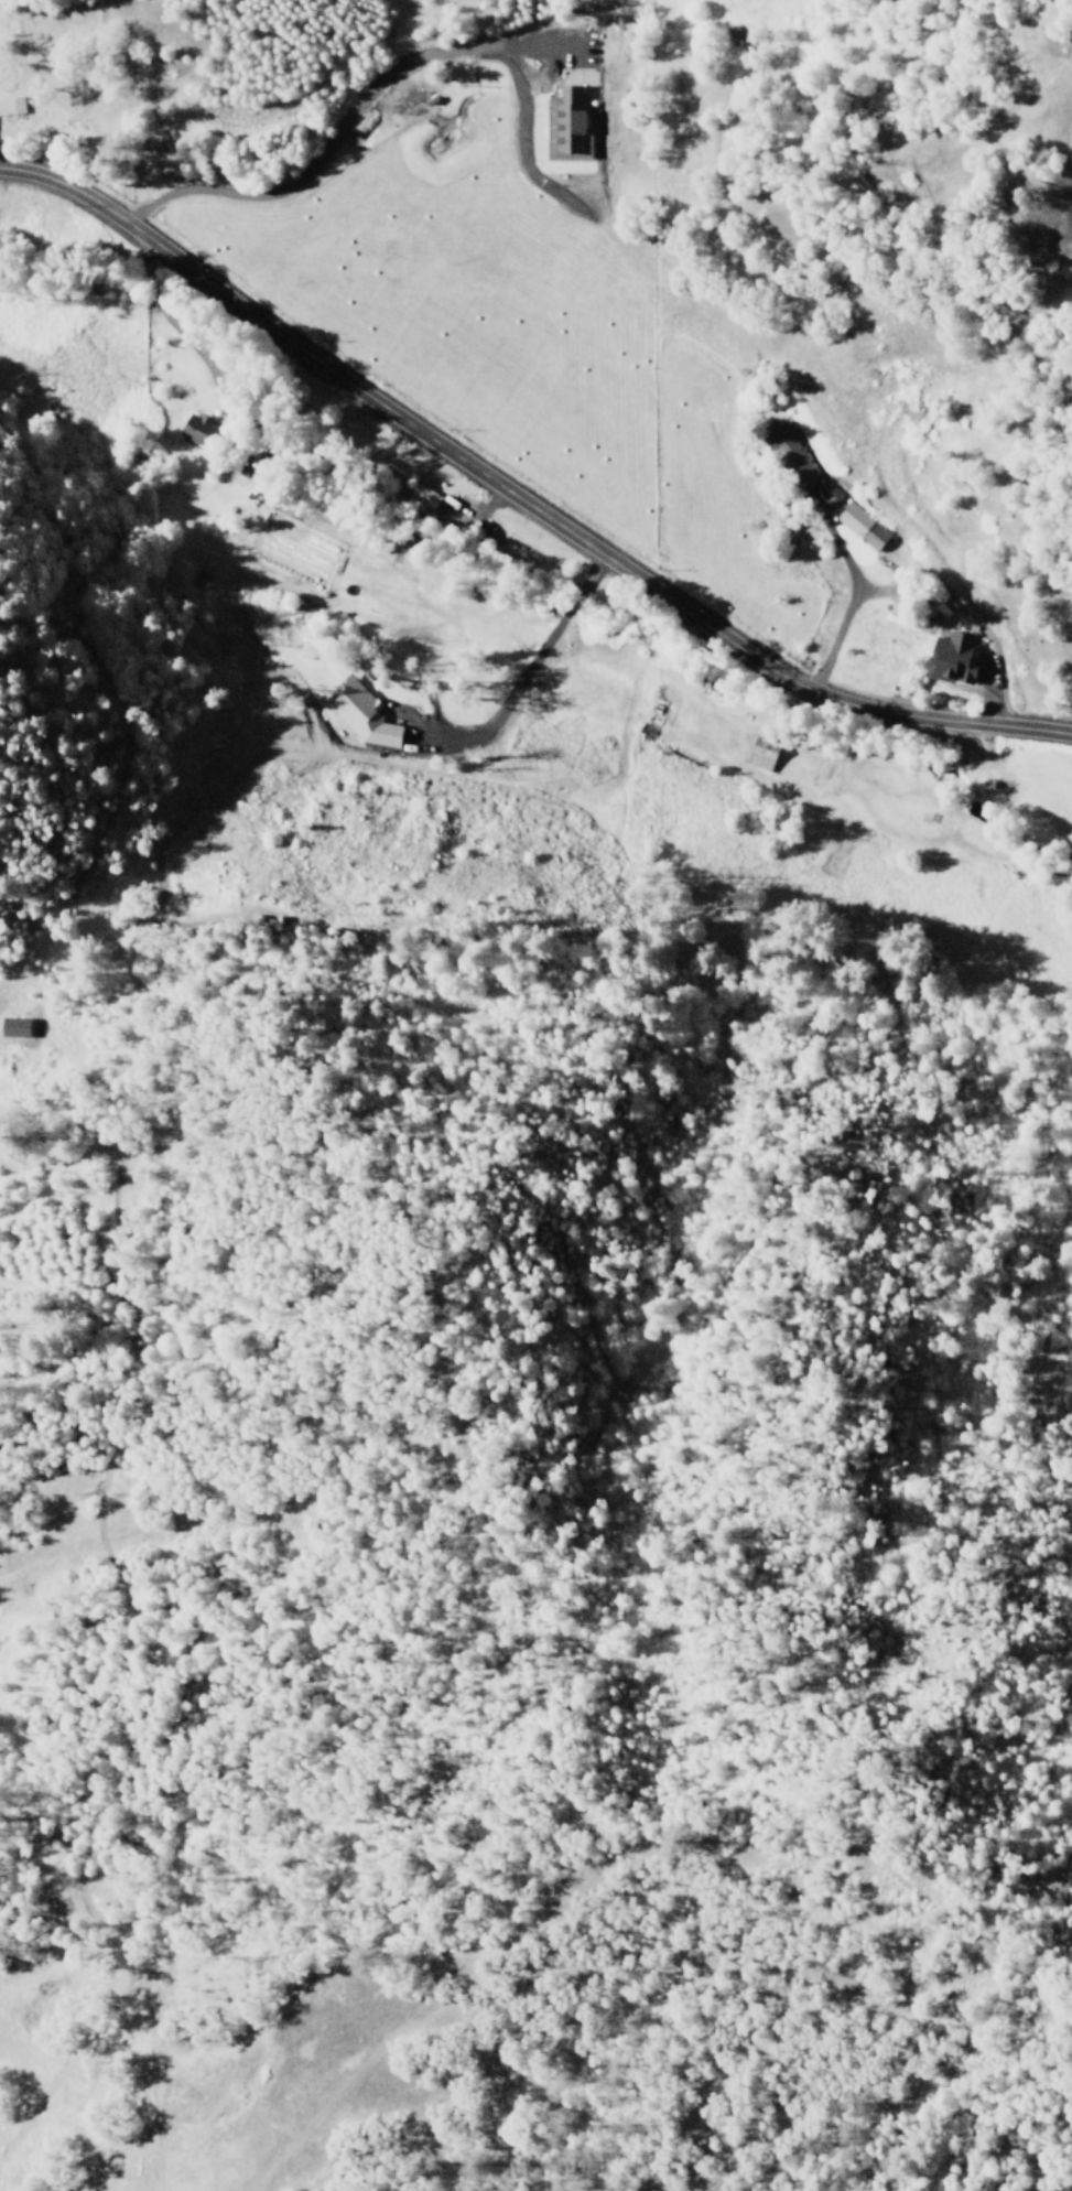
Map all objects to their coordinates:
building: (567, 128)
building: (198, 430)
building: (789, 451)
building: (421, 500)
road: (517, 500)
building: (862, 526)
building: (953, 658)
building: (361, 713)
building: (761, 753)
building: (14, 1027)

